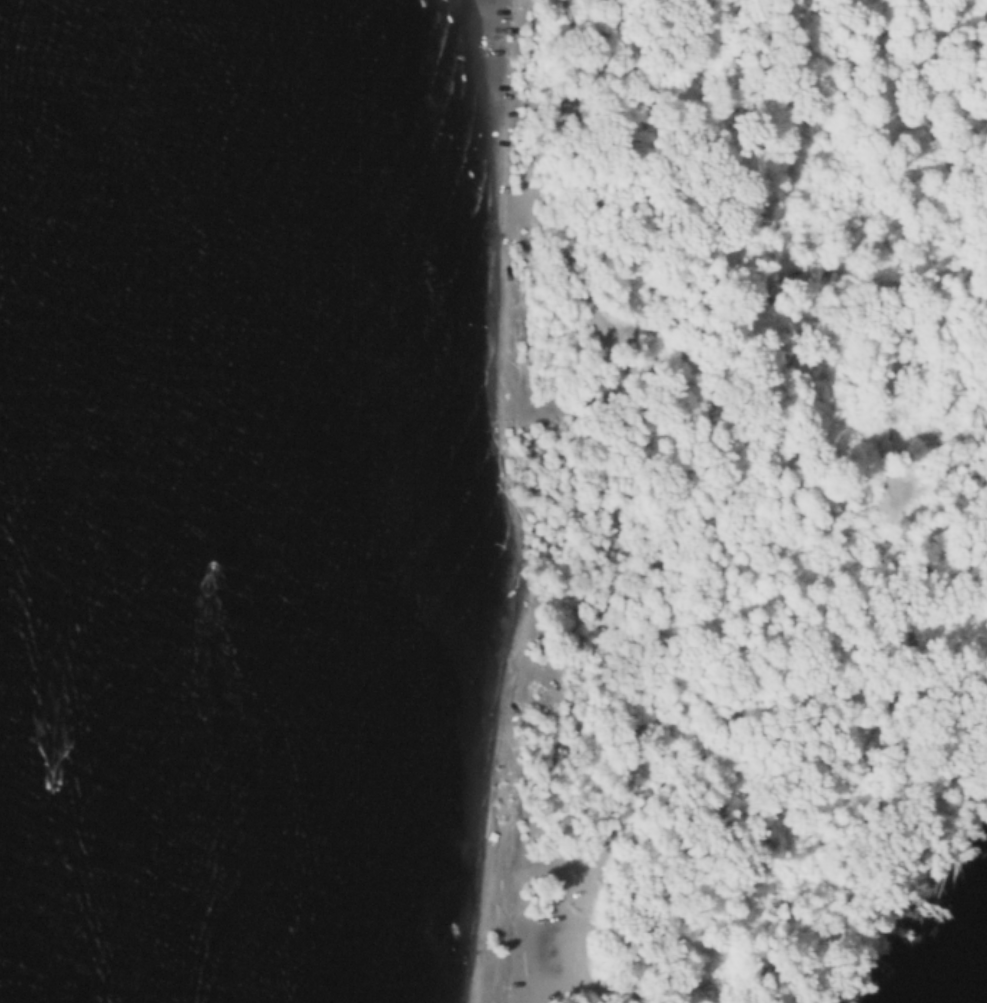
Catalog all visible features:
road: (588, 34)
road: (643, 207)
road: (599, 319)
road: (944, 350)
road: (896, 454)
road: (729, 792)
road: (607, 814)

